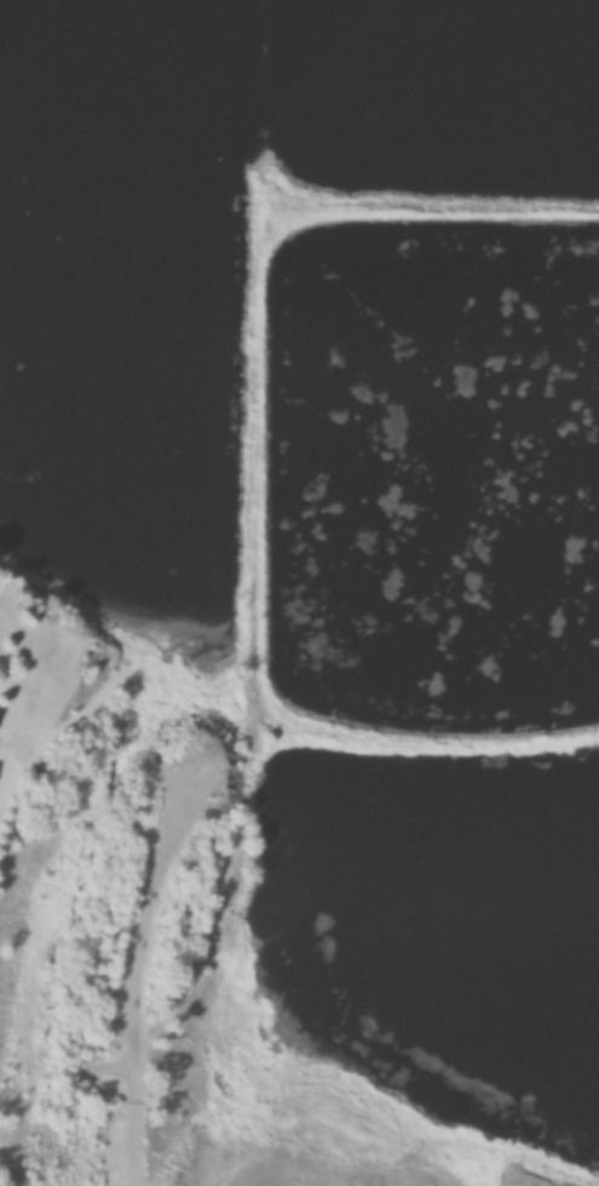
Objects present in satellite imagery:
road: (146, 995)

